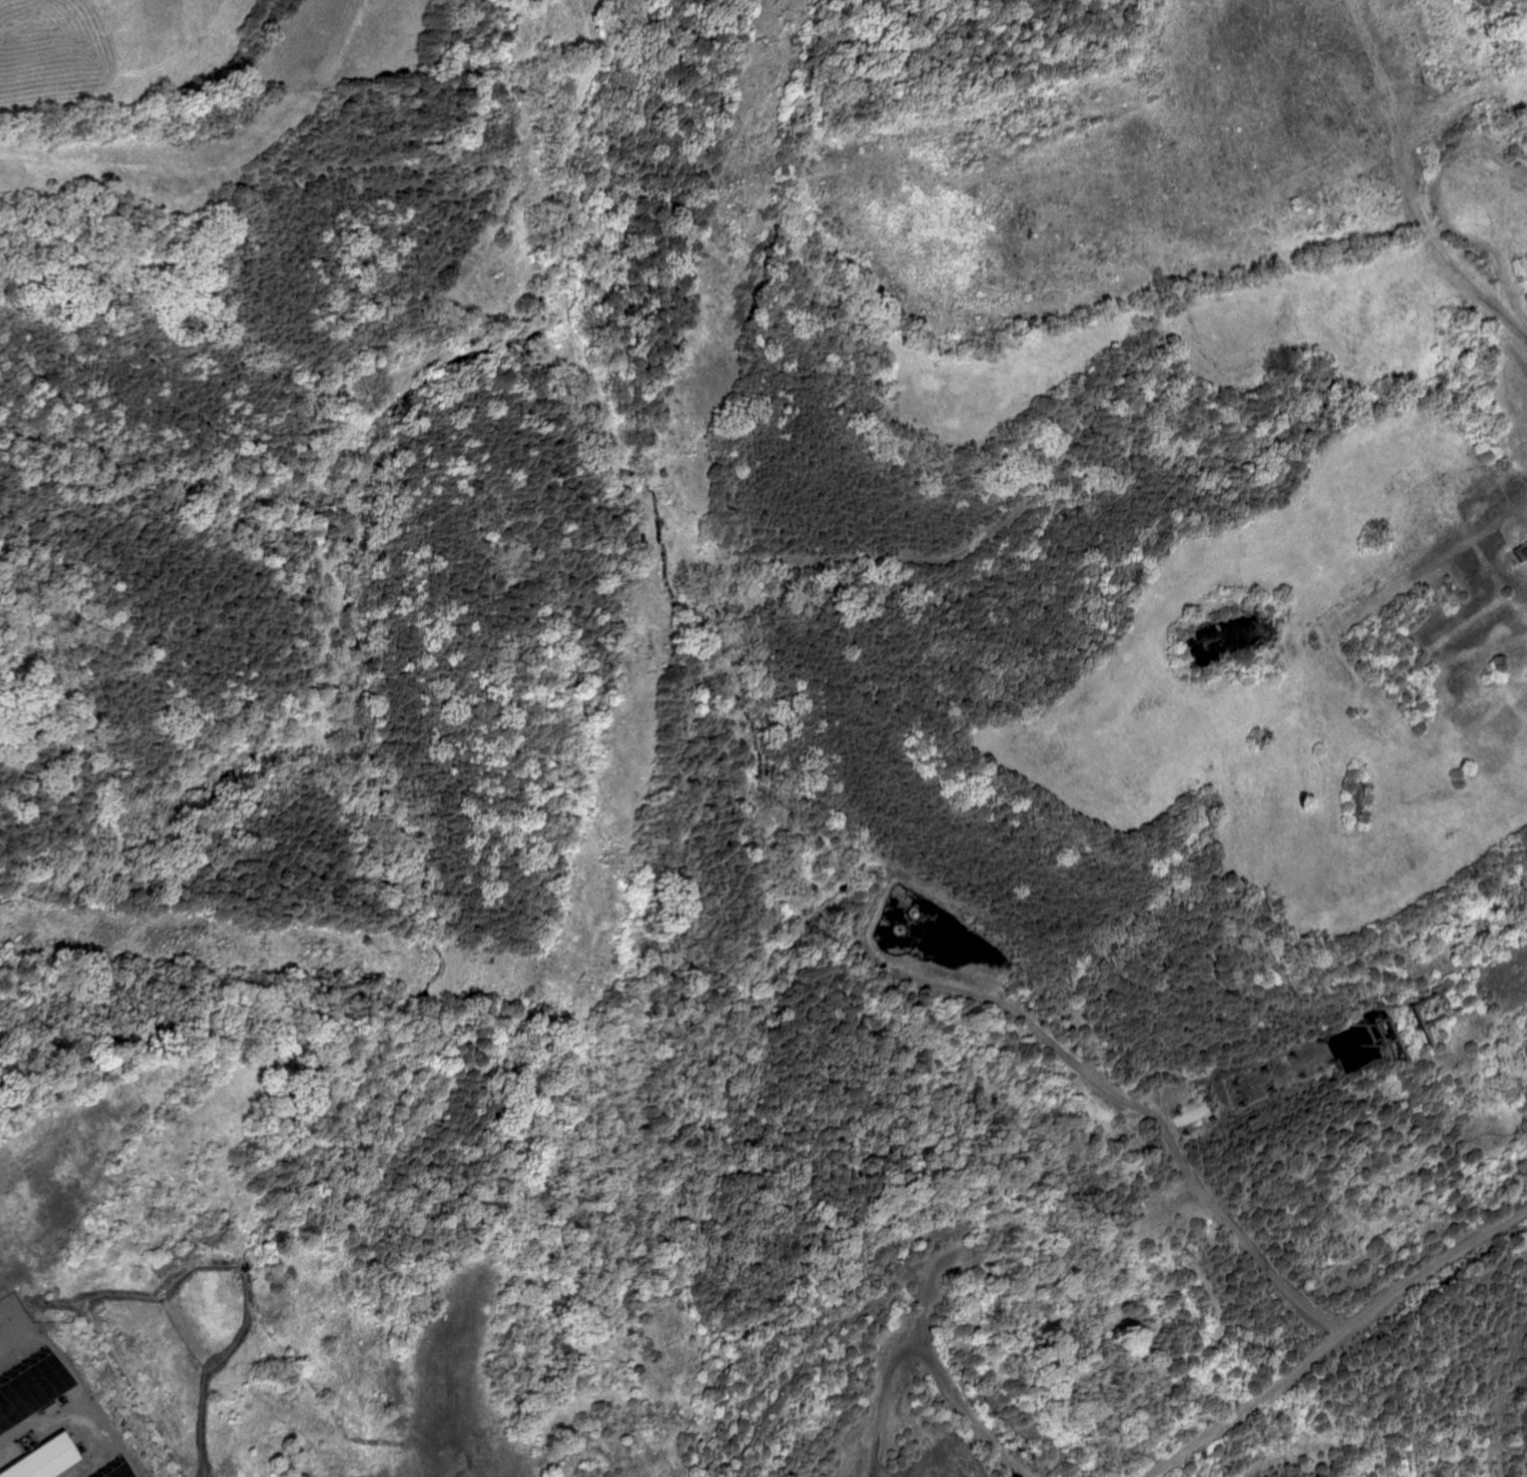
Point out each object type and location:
road: (1365, 187)
power tower: (727, 212)
power tower: (582, 858)
power tower: (237, 941)
power tower: (561, 978)
road: (1326, 1342)
building: (16, 1377)
road: (970, 1411)
building: (23, 1456)
building: (89, 1468)

